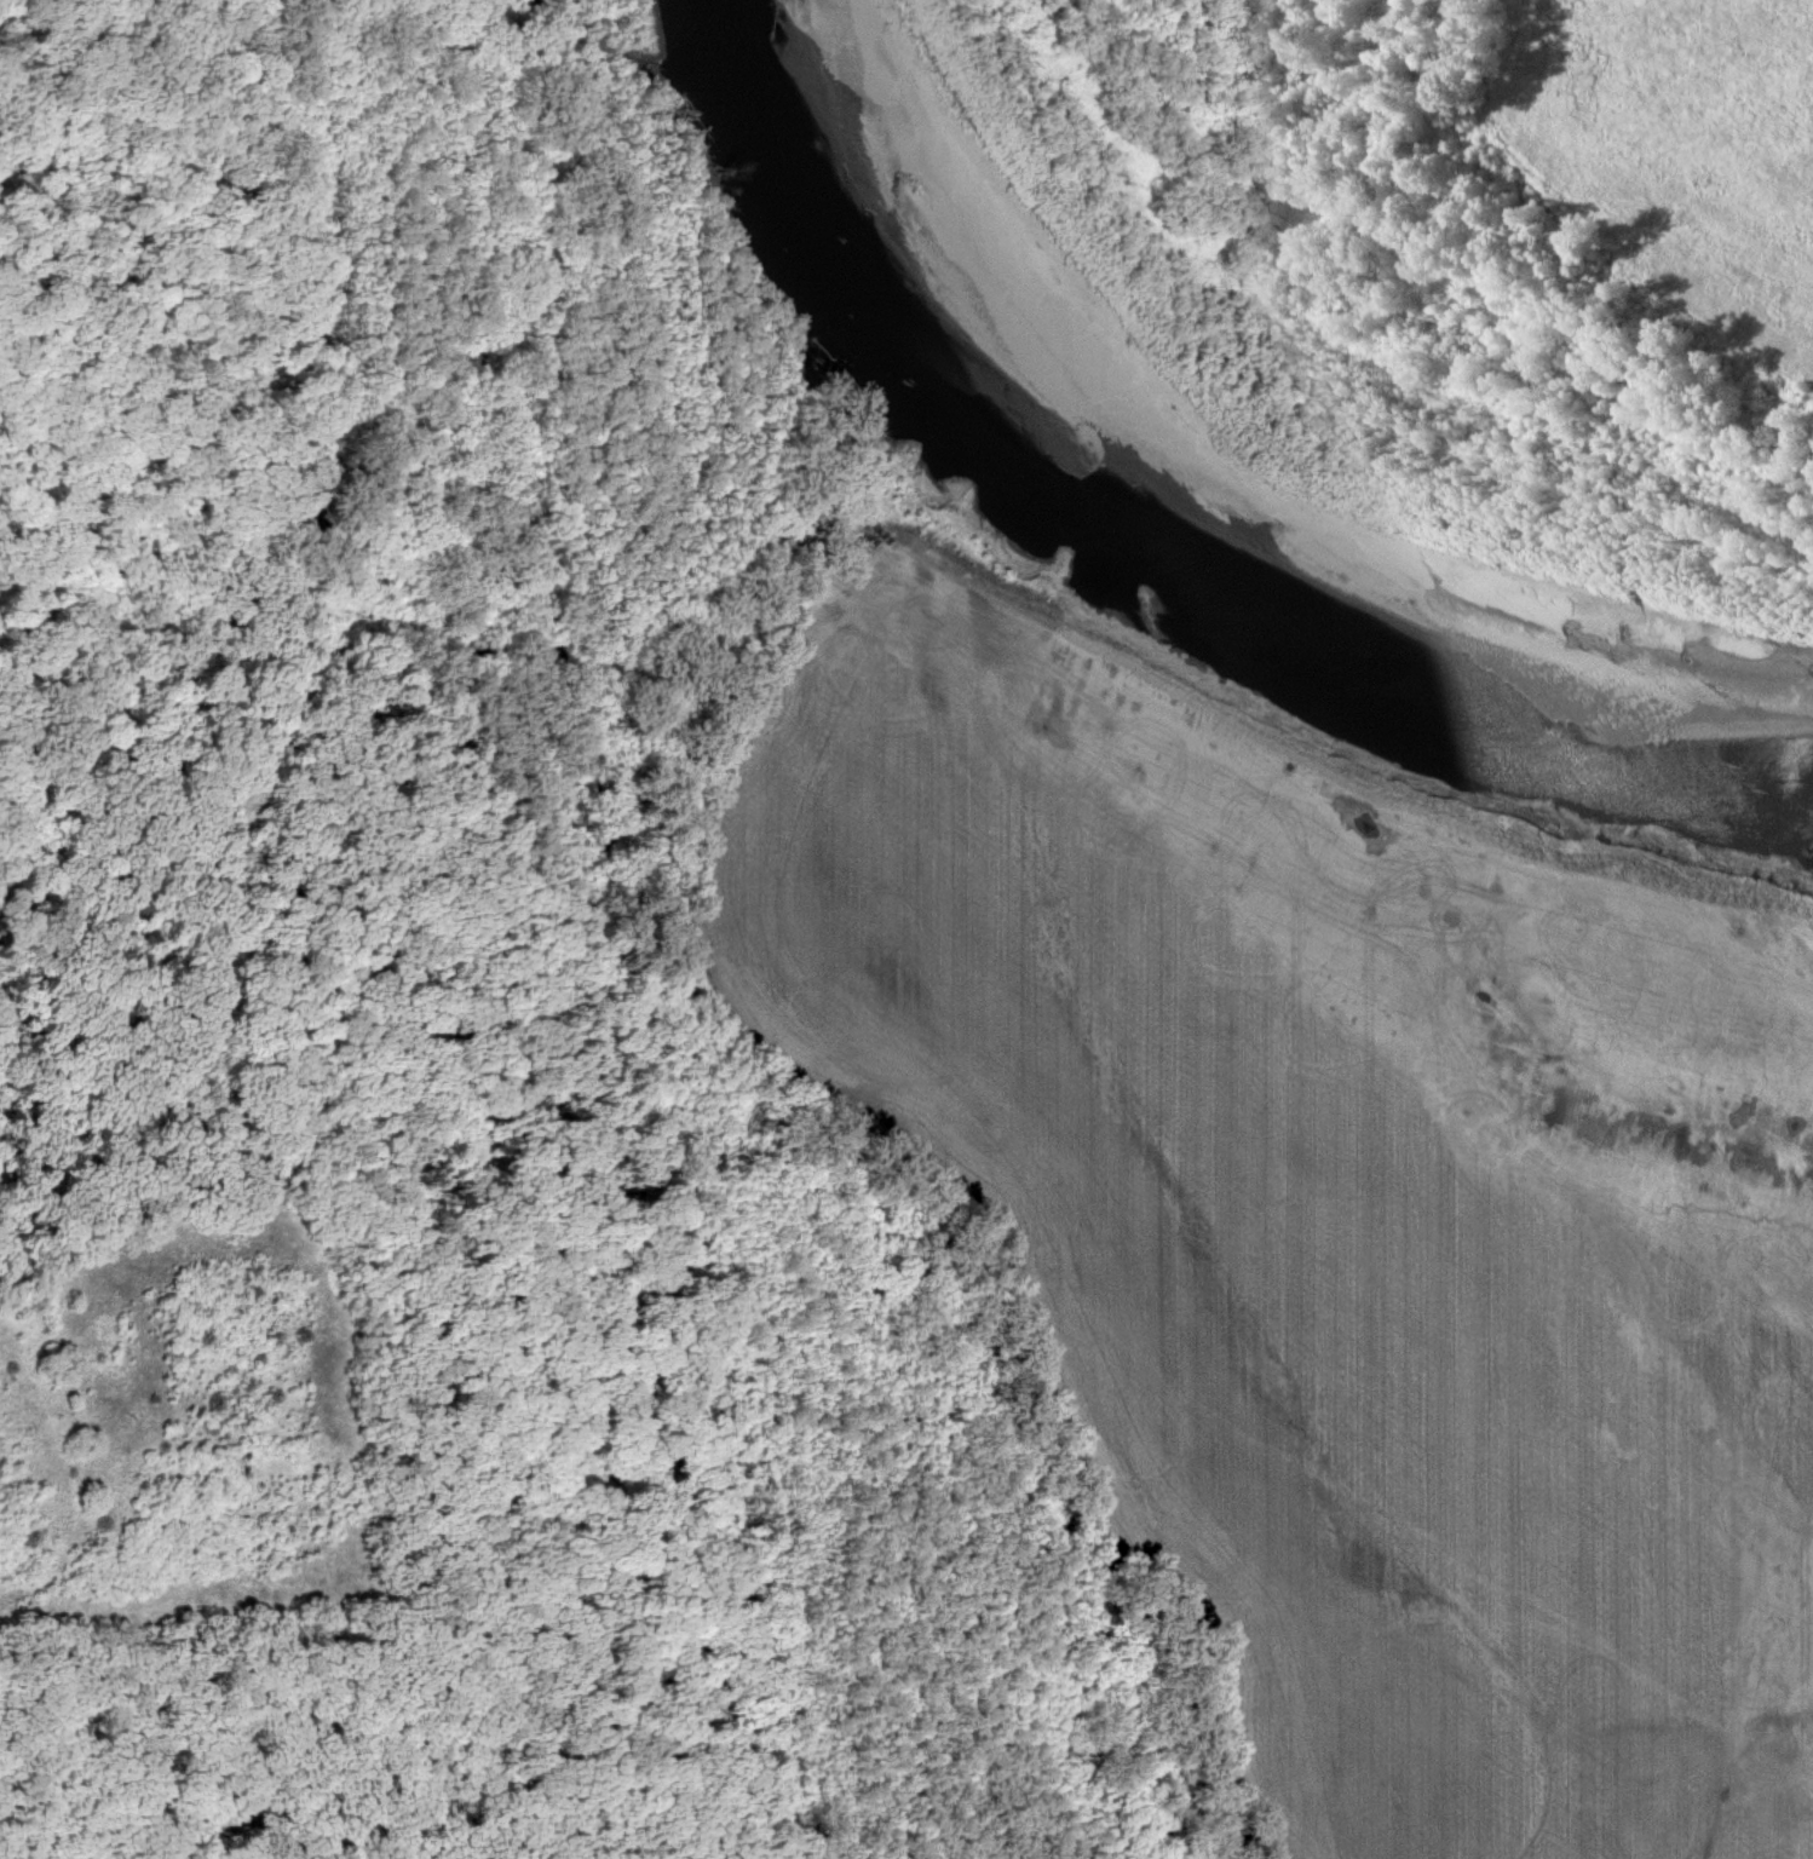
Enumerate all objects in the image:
river: (1151, 519)
park: (799, 1080)
crop: (1330, 1182)
road: (490, 1421)
road: (548, 1854)

